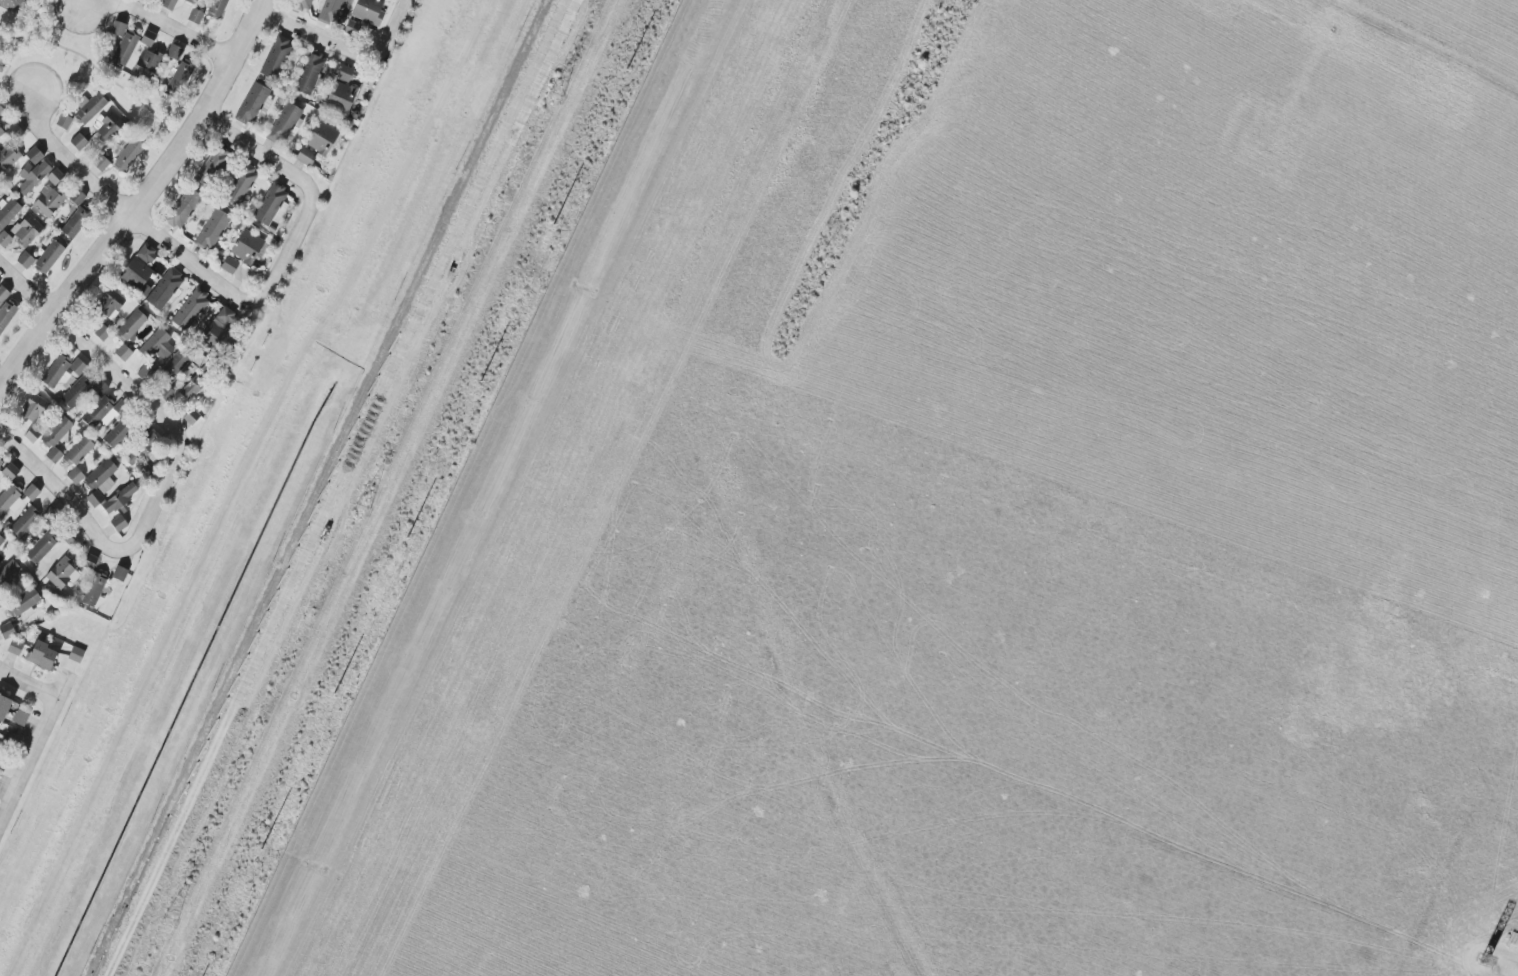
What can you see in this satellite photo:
building: (191, 1)
road: (406, 2)
building: (11, 4)
building: (168, 4)
building: (303, 4)
building: (217, 8)
building: (369, 11)
building: (332, 12)
building: (195, 16)
road: (154, 22)
building: (118, 28)
building: (353, 28)
building: (148, 38)
road: (343, 46)
building: (125, 48)
building: (174, 52)
building: (276, 57)
building: (147, 64)
building: (309, 73)
building: (347, 74)
building: (180, 76)
power tower: (559, 83)
building: (341, 96)
building: (254, 103)
building: (91, 107)
building: (1, 109)
building: (64, 121)
building: (108, 125)
building: (1, 131)
building: (321, 138)
building: (79, 142)
road: (262, 153)
building: (129, 154)
building: (35, 155)
building: (306, 156)
building: (7, 159)
building: (101, 163)
building: (211, 167)
building: (33, 176)
building: (55, 176)
building: (241, 184)
building: (0, 187)
building: (77, 197)
road: (140, 199)
building: (48, 201)
building: (272, 205)
building: (183, 208)
building: (9, 212)
building: (76, 222)
building: (27, 230)
building: (212, 230)
building: (5, 239)
road: (169, 246)
building: (247, 246)
building: (49, 257)
building: (25, 260)
building: (229, 265)
building: (139, 270)
building: (165, 289)
building: (3, 294)
building: (111, 303)
building: (190, 310)
building: (220, 324)
building: (131, 325)
building: (102, 333)
building: (155, 344)
building: (123, 352)
road: (90, 357)
building: (174, 365)
building: (61, 370)
building: (145, 372)
building: (100, 387)
building: (192, 387)
building: (75, 393)
building: (34, 408)
building: (105, 411)
building: (191, 417)
building: (56, 431)
building: (33, 434)
building: (117, 434)
building: (142, 449)
building: (79, 451)
building: (54, 455)
building: (0, 463)
building: (10, 471)
building: (75, 475)
building: (101, 477)
building: (31, 492)
building: (95, 498)
building: (120, 498)
building: (10, 500)
power tower: (365, 503)
building: (24, 522)
building: (119, 523)
building: (71, 537)
building: (1, 541)
road: (93, 544)
building: (41, 548)
building: (8, 571)
building: (119, 573)
building: (63, 574)
building: (94, 589)
building: (25, 603)
building: (7, 630)
building: (15, 647)
building: (76, 654)
building: (42, 655)
road: (28, 683)
building: (4, 706)
building: (20, 718)
road: (33, 746)
power tower: (171, 911)

